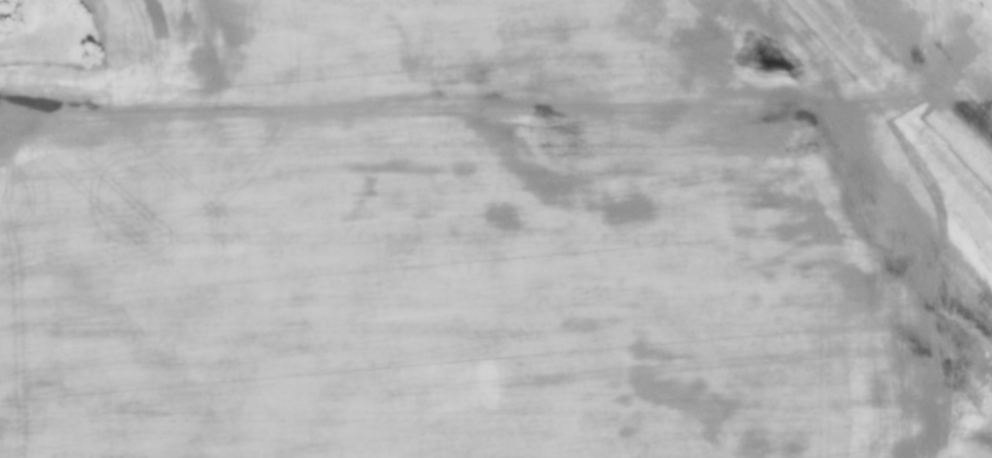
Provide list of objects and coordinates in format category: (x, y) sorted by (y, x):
building: (5, 19)

